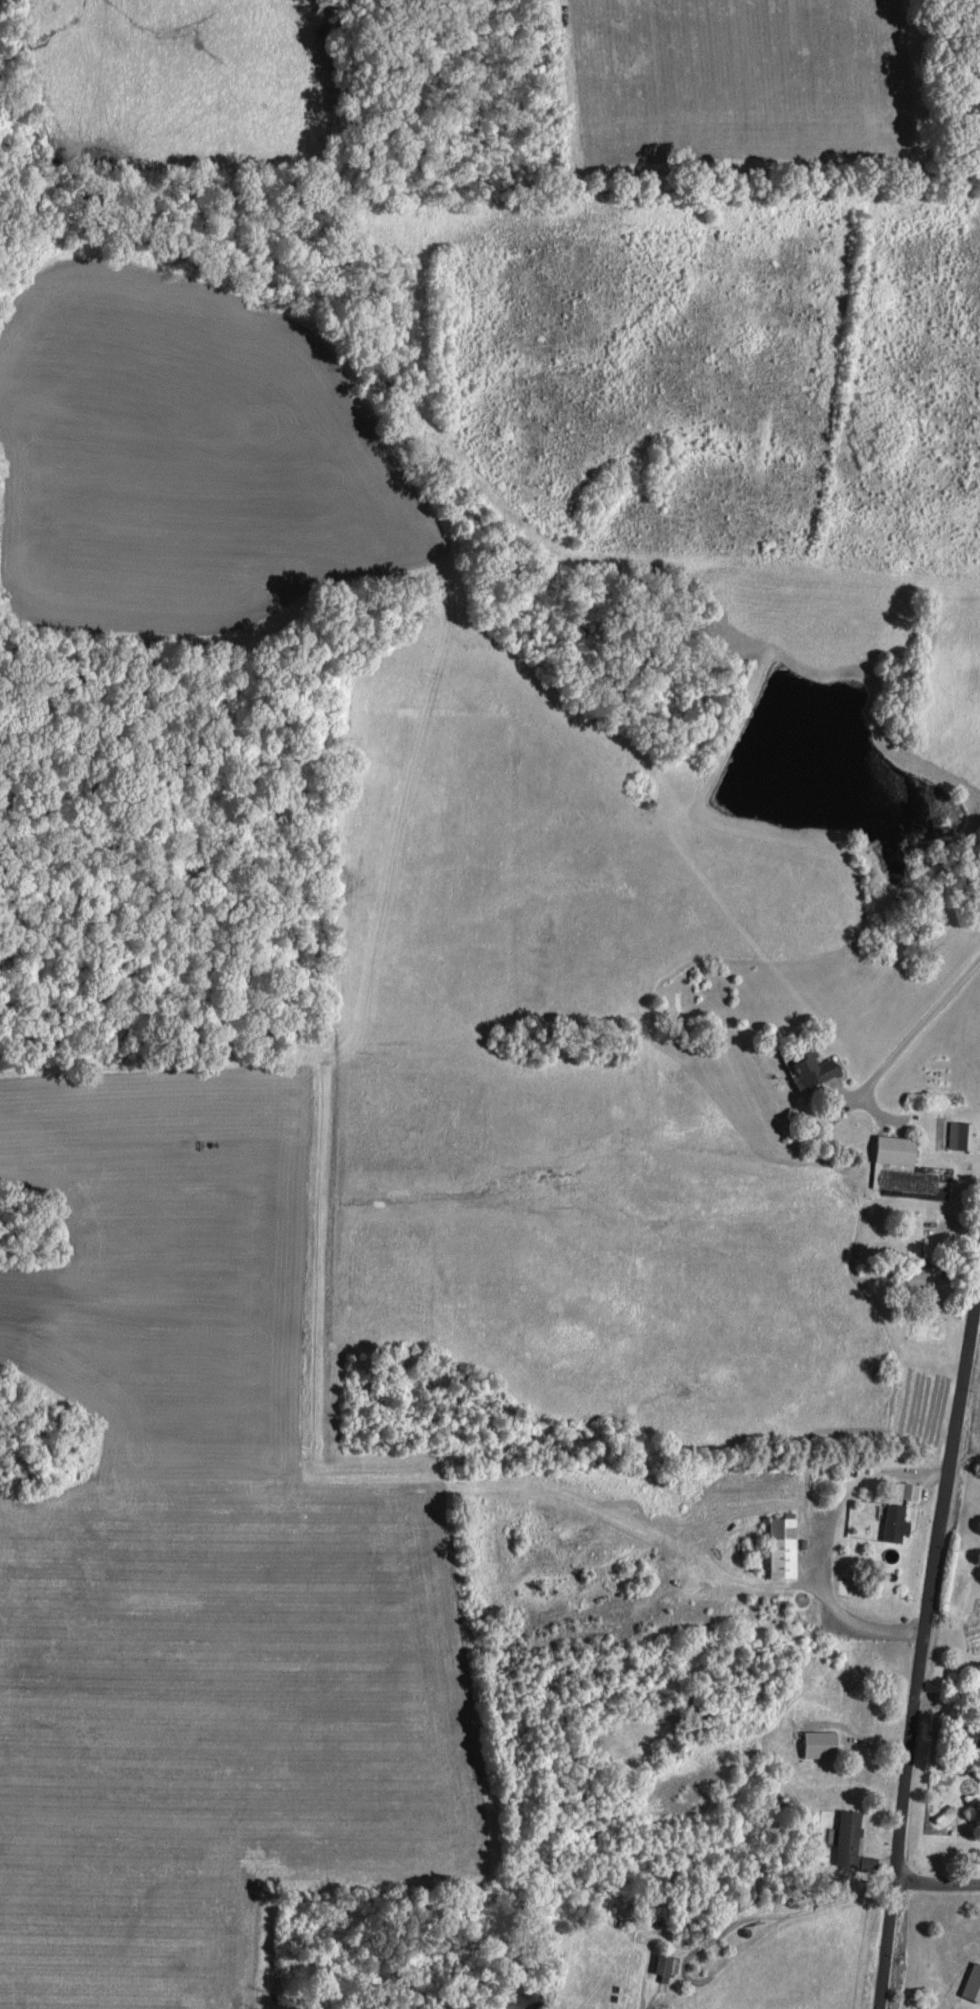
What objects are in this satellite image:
building: (808, 1065)
building: (957, 1133)
building: (902, 1161)
building: (910, 1273)
building: (903, 1488)
building: (890, 1520)
building: (775, 1544)
road: (922, 1639)
building: (962, 1731)
building: (815, 1741)
building: (846, 1839)
road: (937, 1879)
building: (658, 1964)
building: (970, 1981)

